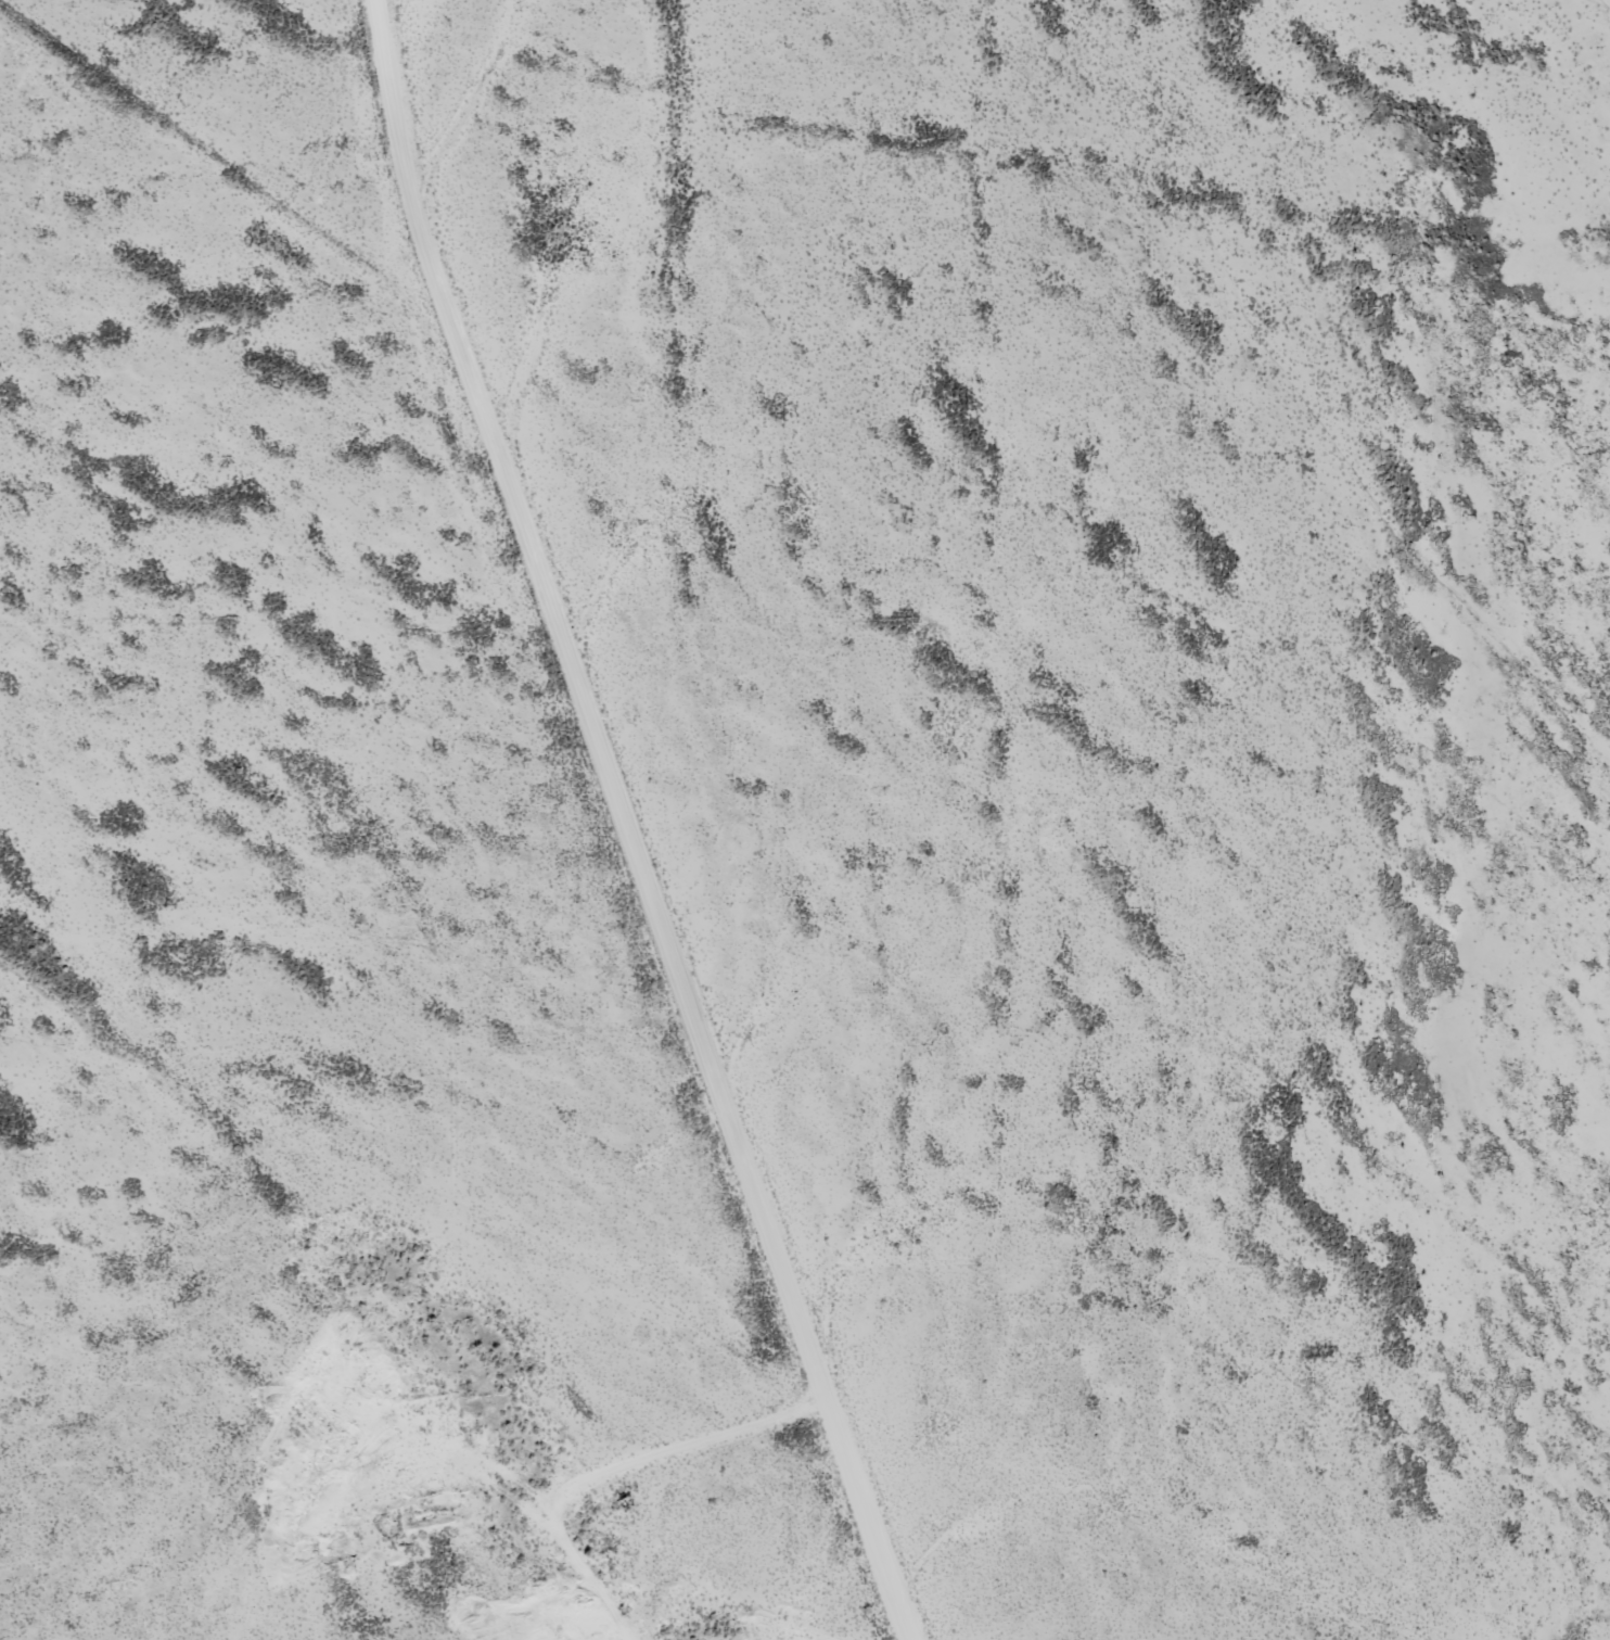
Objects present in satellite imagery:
road: (366, 278)
road: (669, 823)

